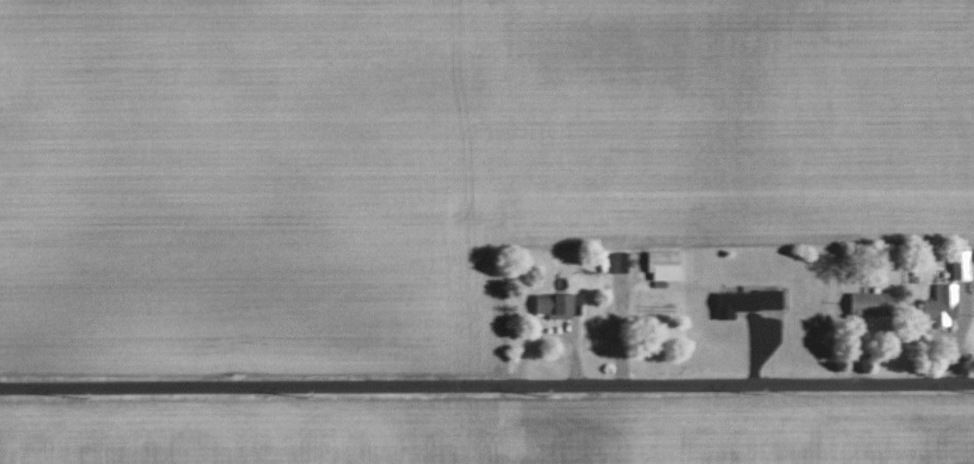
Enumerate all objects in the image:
building: (615, 263)
building: (658, 265)
building: (956, 265)
building: (741, 303)
building: (552, 304)
building: (865, 305)
building: (935, 306)
road: (486, 384)
power tower: (761, 395)
power tower: (547, 397)
power tower: (85, 399)
power tower: (307, 399)

